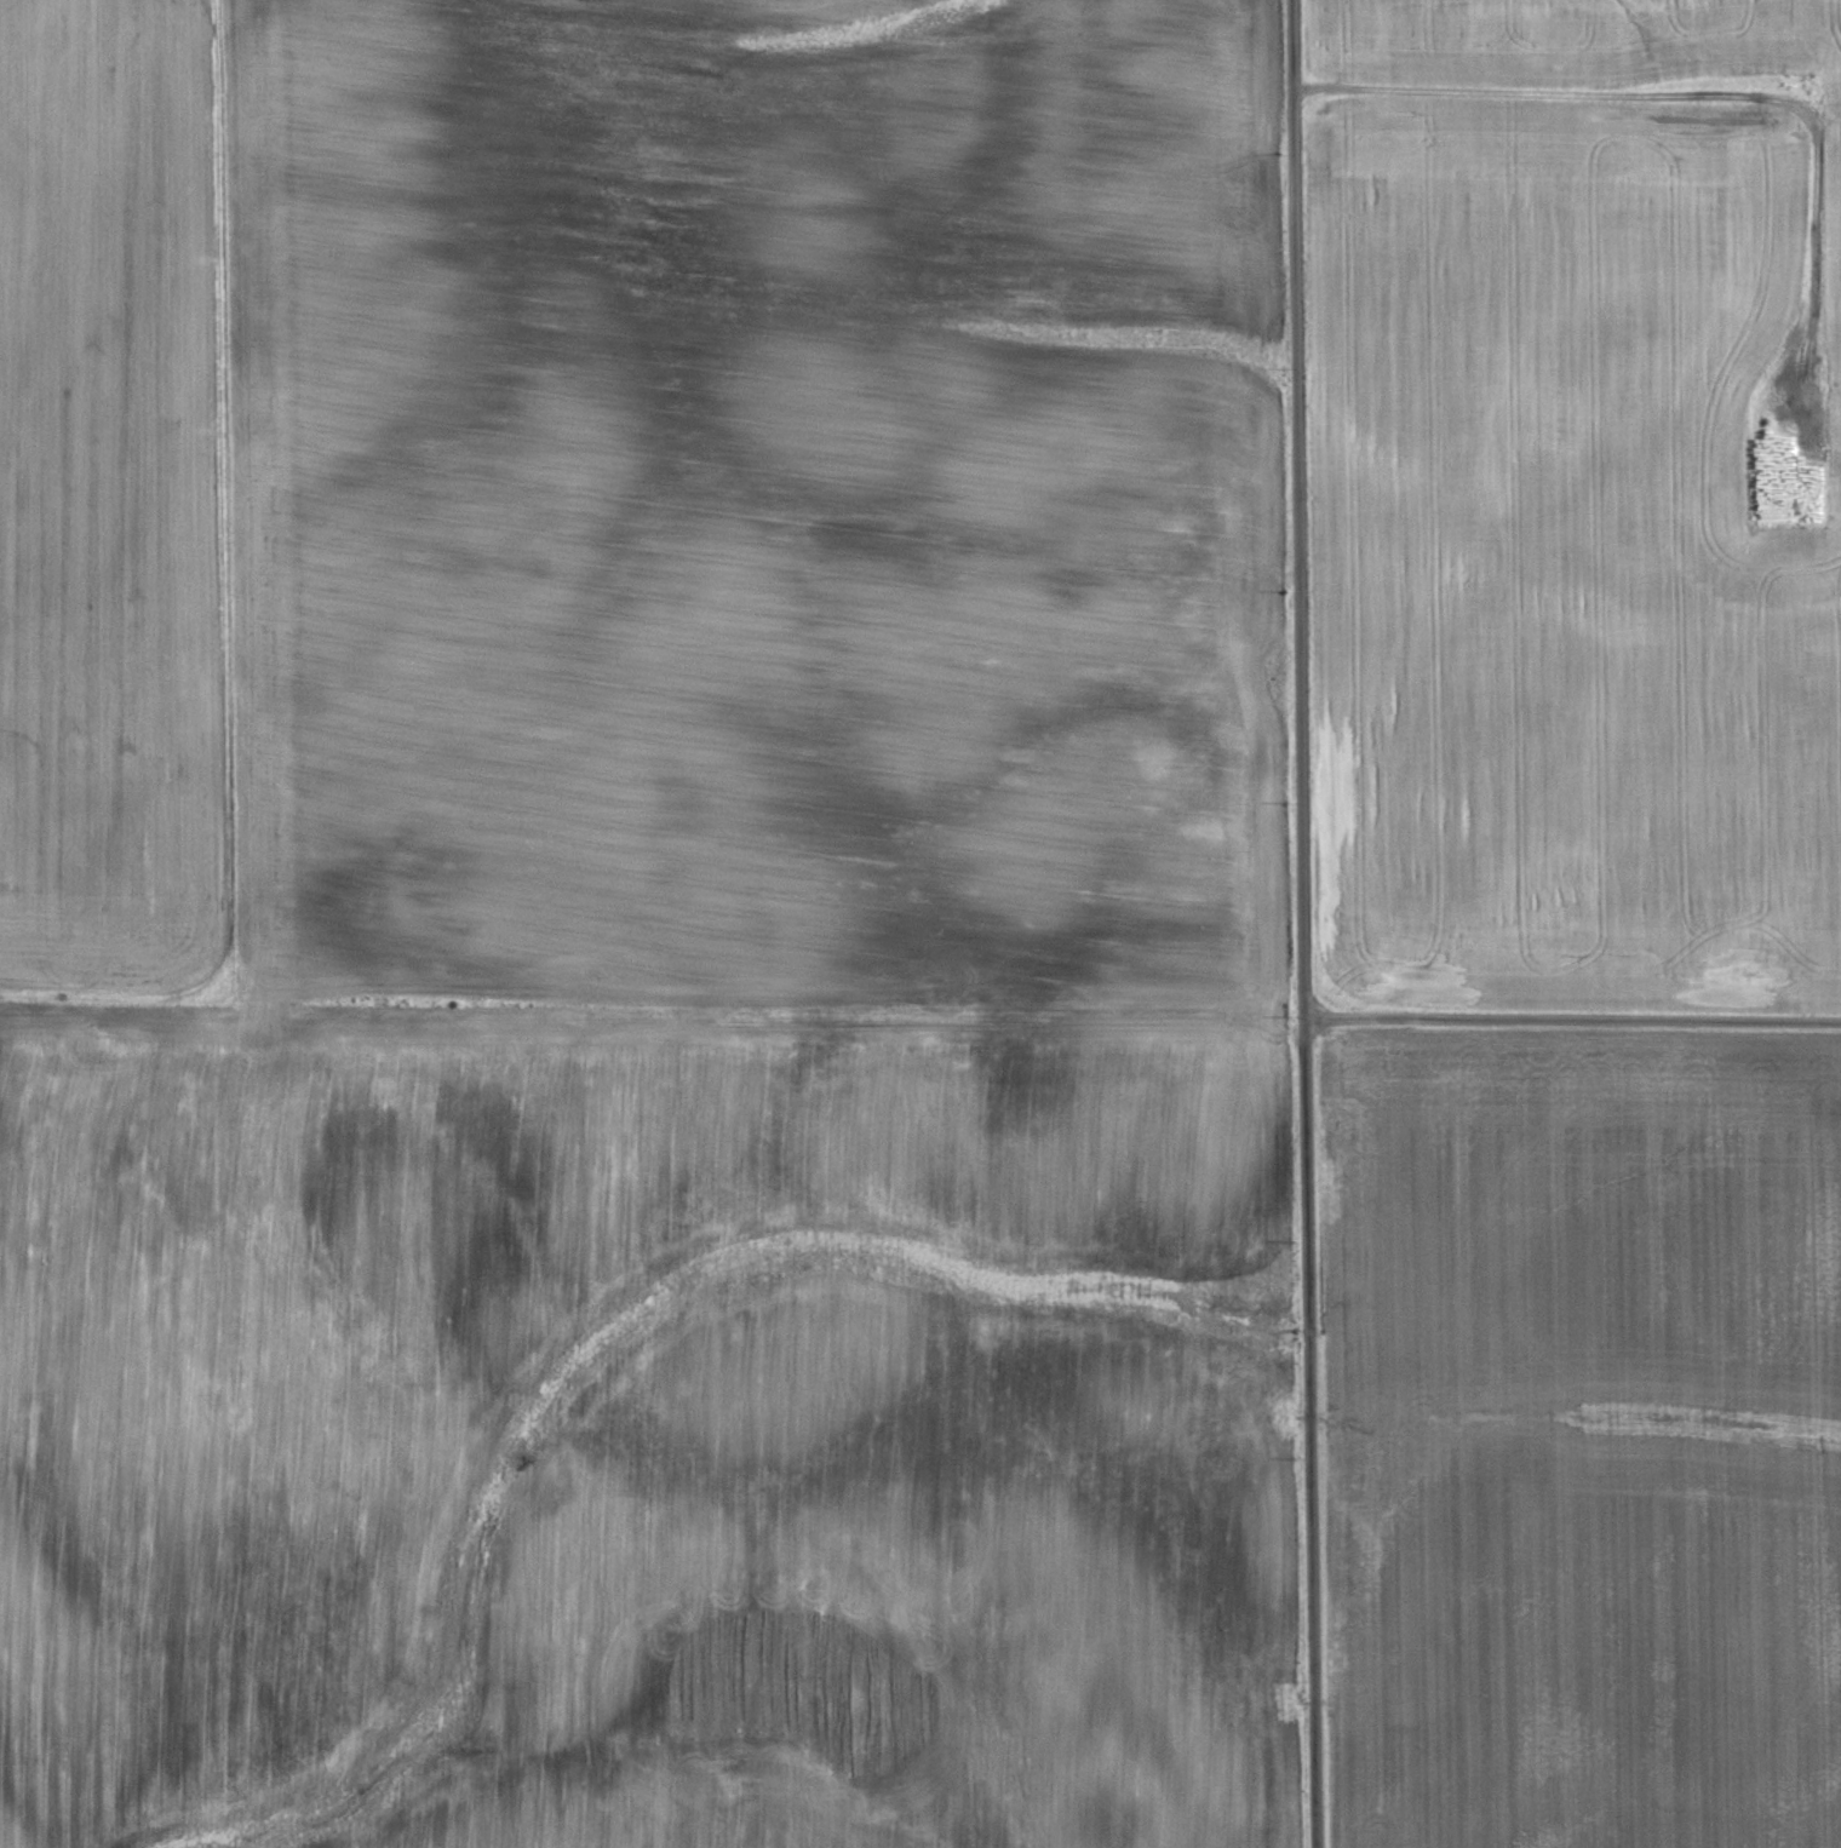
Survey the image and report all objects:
road: (1302, 924)
road: (1572, 1022)

